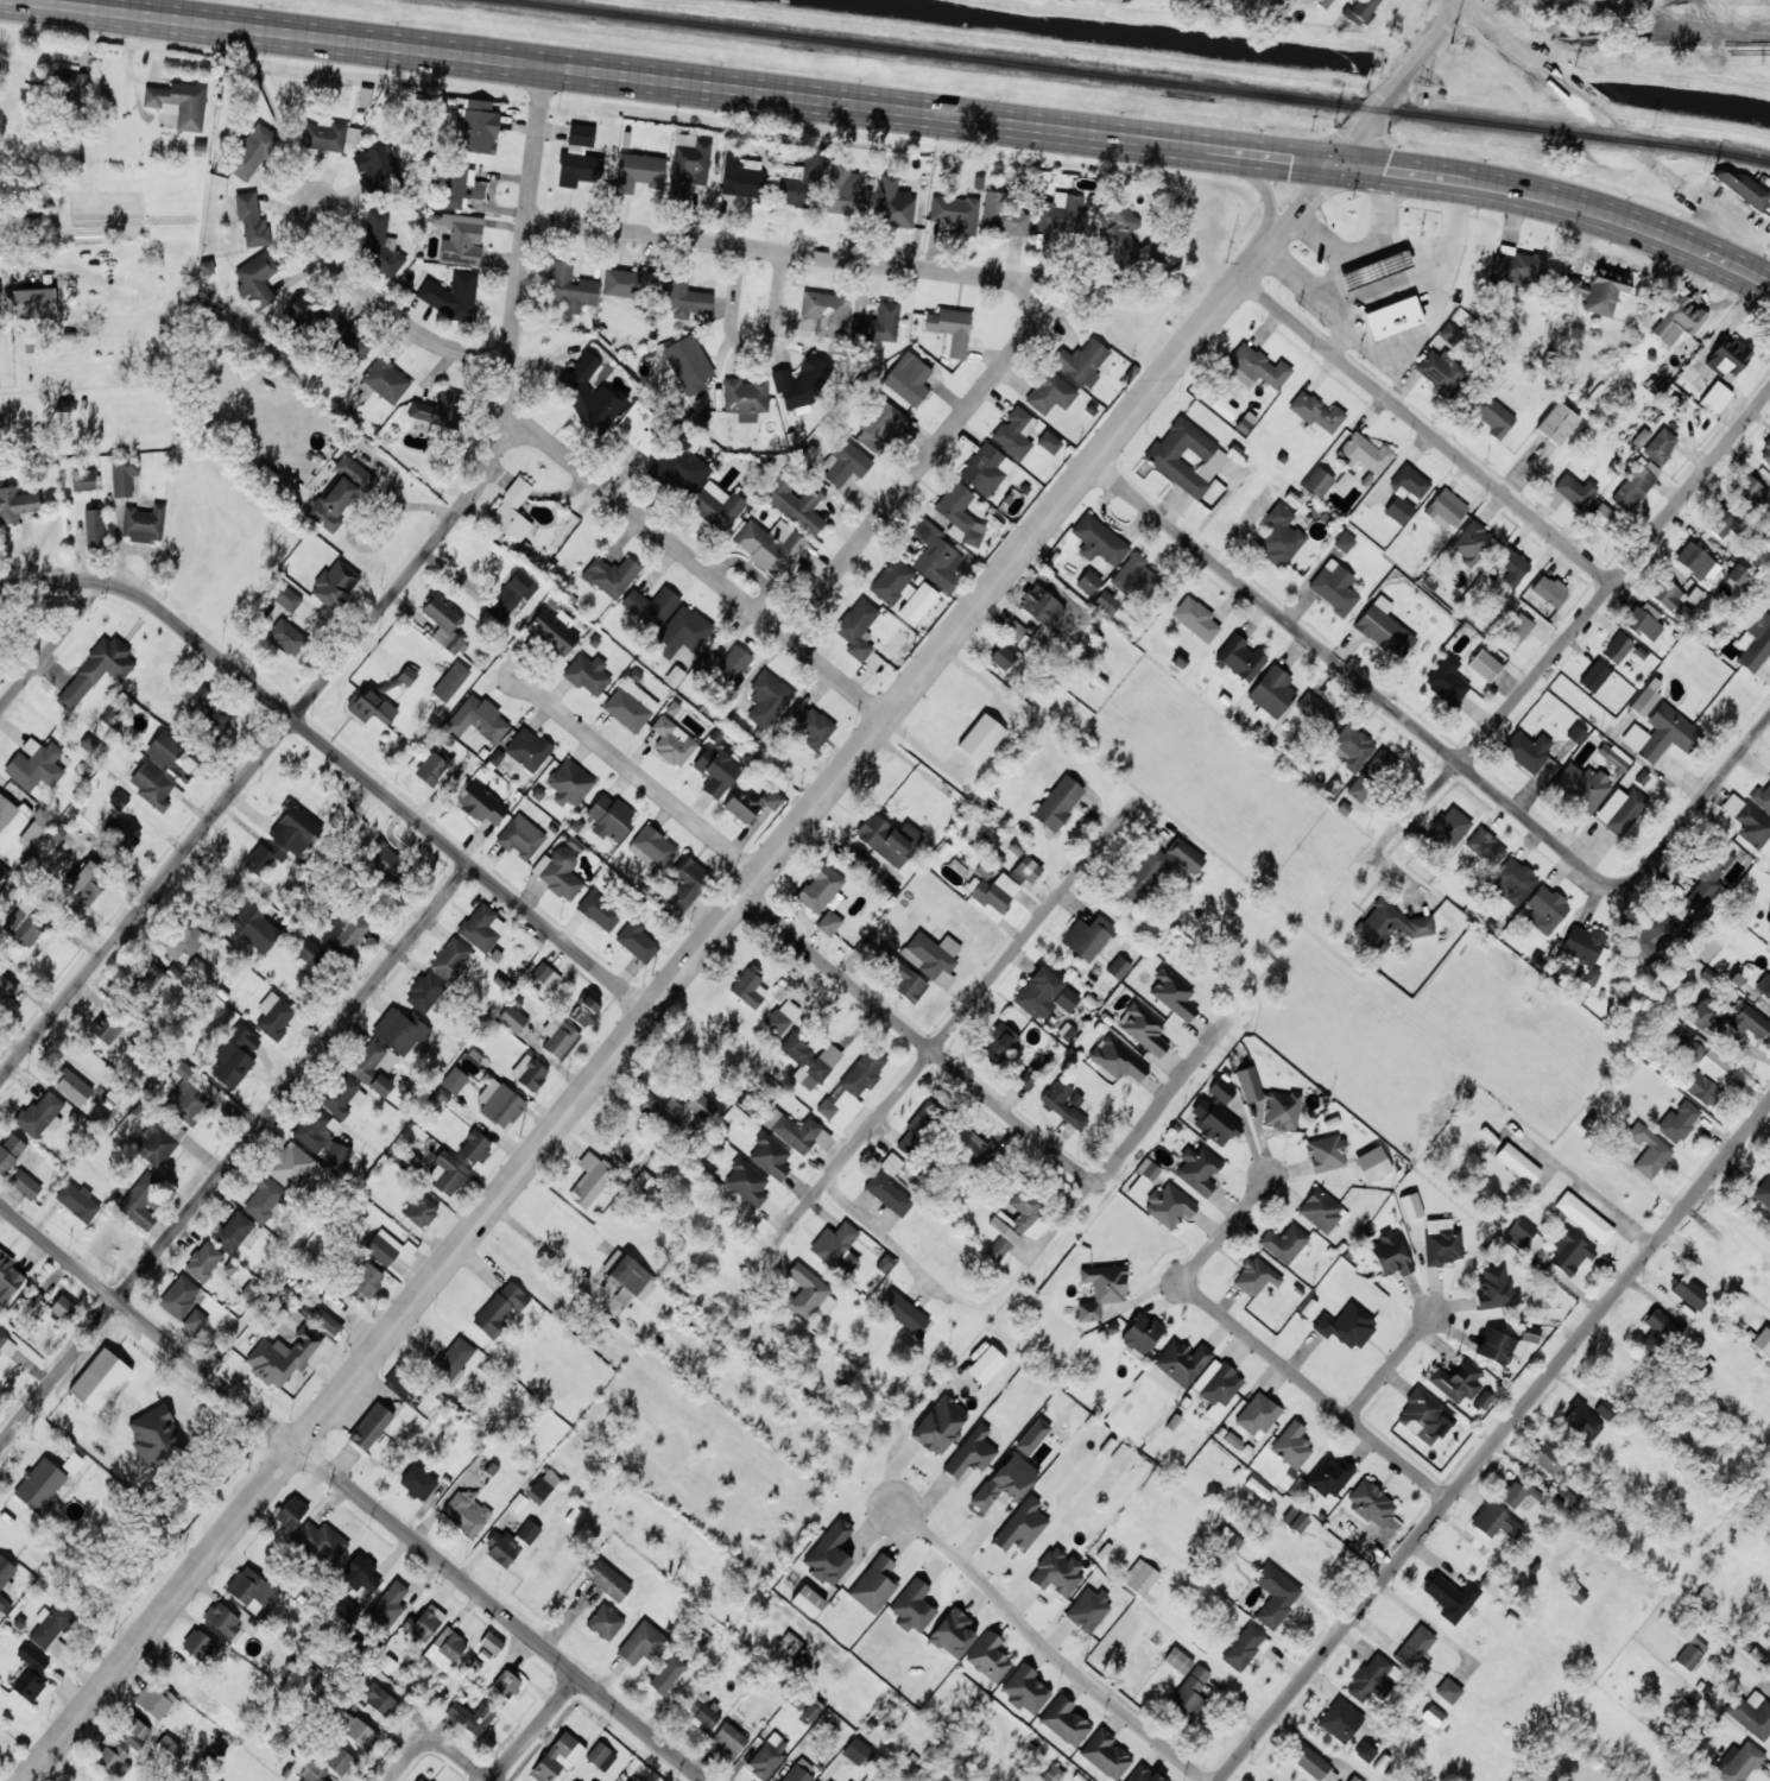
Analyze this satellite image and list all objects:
road: (1460, 1)
building: (1322, 2)
building: (1358, 11)
building: (71, 77)
railway: (1136, 80)
road: (1572, 94)
building: (179, 103)
road: (896, 109)
building: (476, 127)
building: (328, 135)
building: (252, 152)
building: (579, 158)
building: (377, 163)
building: (688, 165)
traffic signals: (1330, 166)
building: (638, 171)
building: (742, 175)
building: (790, 185)
building: (461, 188)
building: (1743, 188)
building: (893, 203)
building: (1061, 213)
building: (955, 214)
building: (251, 220)
building: (1004, 221)
building: (461, 239)
building: (1127, 240)
building: (379, 244)
building: (1517, 265)
building: (1374, 270)
road: (776, 271)
road: (995, 277)
building: (258, 278)
building: (627, 282)
building: (570, 288)
building: (1598, 290)
building: (451, 295)
building: (684, 297)
building: (33, 303)
road: (385, 307)
building: (304, 311)
building: (826, 312)
building: (1392, 317)
building: (1676, 320)
building: (878, 324)
building: (950, 329)
building: (347, 342)
building: (798, 347)
building: (1727, 358)
building: (1081, 362)
building: (688, 364)
building: (1256, 367)
building: (1439, 371)
building: (908, 378)
building: (385, 379)
building: (802, 384)
building: (1049, 392)
building: (588, 393)
building: (745, 398)
building: (1714, 398)
building: (1222, 408)
building: (437, 410)
building: (1315, 412)
building: (1488, 412)
building: (1556, 423)
building: (879, 425)
building: (637, 428)
road: (1427, 430)
building: (1014, 431)
building: (1639, 436)
building: (1049, 442)
building: (1660, 446)
building: (1765, 451)
building: (1363, 453)
building: (1186, 456)
building: (845, 462)
building: (678, 466)
building: (985, 468)
building: (122, 474)
building: (83, 480)
building: (1317, 481)
building: (1633, 485)
building: (1574, 490)
building: (1404, 492)
building: (340, 493)
building: (1750, 493)
building: (795, 503)
building: (15, 504)
building: (716, 505)
building: (1445, 509)
building: (511, 511)
building: (959, 514)
building: (1601, 516)
building: (144, 524)
building: (1719, 524)
building: (94, 526)
building: (1278, 536)
building: (1098, 539)
building: (1344, 542)
building: (1471, 542)
building: (770, 545)
building: (936, 556)
road: (694, 560)
building: (1696, 562)
building: (1512, 567)
building: (1733, 571)
building: (611, 575)
building: (1136, 577)
building: (1088, 581)
building: (892, 582)
building: (334, 585)
building: (1334, 587)
building: (1549, 589)
building: (284, 595)
building: (511, 595)
building: (1675, 598)
building: (919, 602)
building: (1106, 602)
building: (651, 606)
building: (1042, 606)
road: (374, 614)
building: (1196, 619)
road: (1581, 620)
building: (1644, 620)
building: (444, 625)
building: (858, 627)
building: (1384, 627)
building: (1014, 630)
building: (1516, 630)
building: (552, 631)
building: (683, 632)
building: (286, 637)
building: (1755, 643)
road: (51, 644)
building: (1617, 646)
building: (1003, 657)
building: (1240, 657)
road: (1335, 661)
building: (1484, 665)
building: (725, 667)
building: (96, 670)
building: (588, 674)
building: (1594, 675)
building: (1446, 680)
building: (450, 681)
building: (1272, 691)
building: (767, 697)
building: (1643, 701)
building: (371, 706)
building: (630, 707)
building: (1317, 713)
building: (478, 719)
building: (809, 724)
building: (1575, 733)
building: (1661, 733)
building: (980, 738)
building: (672, 740)
building: (1349, 746)
building: (527, 749)
building: (1528, 751)
road: (340, 754)
building: (172, 756)
building: (1612, 757)
building: (34, 764)
building: (432, 766)
building: (715, 771)
road: (638, 772)
building: (569, 782)
building: (152, 785)
building: (1581, 785)
building: (1361, 787)
building: (1762, 797)
building: (119, 800)
building: (750, 802)
building: (1058, 802)
building: (481, 804)
building: (1620, 809)
building: (6, 810)
building: (609, 817)
road: (1682, 823)
building: (1749, 823)
building: (1449, 827)
building: (36, 829)
building: (293, 829)
building: (122, 832)
building: (520, 836)
building: (887, 839)
building: (652, 847)
building: (1485, 847)
building: (383, 855)
building: (1186, 855)
building: (263, 858)
building: (867, 866)
building: (0, 869)
building: (561, 869)
building: (1025, 870)
building: (1144, 873)
building: (1708, 877)
building: (1512, 880)
building: (687, 882)
building: (86, 883)
building: (821, 888)
road: (744, 890)
building: (993, 893)
building: (1544, 909)
building: (599, 911)
building: (828, 923)
building: (1390, 924)
building: (23, 927)
building: (482, 927)
building: (254, 928)
building: (344, 931)
building: (1087, 936)
building: (183, 939)
building: (1646, 939)
building: (637, 941)
building: (308, 949)
building: (1582, 949)
building: (931, 956)
building: (451, 959)
building: (1118, 967)
building: (198, 970)
building: (899, 974)
building: (545, 975)
building: (153, 981)
building: (1763, 985)
building: (750, 986)
building: (7, 990)
building: (424, 992)
building: (1172, 993)
building: (1044, 994)
building: (584, 1011)
building: (1700, 1012)
building: (274, 1015)
building: (780, 1017)
building: (512, 1018)
building: (1749, 1021)
building: (107, 1027)
building: (1144, 1029)
building: (400, 1030)
road: (950, 1031)
building: (557, 1036)
road: (916, 1037)
building: (998, 1041)
building: (1683, 1046)
building: (234, 1056)
building: (810, 1059)
building: (1117, 1060)
building: (1711, 1065)
building: (373, 1066)
building: (529, 1073)
building: (454, 1080)
building: (1025, 1080)
building: (72, 1087)
building: (852, 1087)
building: (1701, 1088)
building: (189, 1092)
building: (343, 1097)
building: (1270, 1100)
building: (1064, 1103)
building: (499, 1104)
building: (662, 1110)
road: (1627, 1112)
building: (40, 1113)
building: (1215, 1113)
building: (1677, 1122)
building: (916, 1130)
building: (796, 1131)
building: (321, 1138)
building: (158, 1141)
building: (475, 1147)
building: (10, 1150)
building: (1648, 1150)
building: (973, 1151)
building: (1326, 1152)
road: (235, 1154)
building: (770, 1155)
building: (1517, 1162)
building: (891, 1163)
building: (1372, 1163)
building: (293, 1168)
building: (1197, 1169)
building: (447, 1173)
road: (1593, 1175)
building: (1144, 1176)
building: (590, 1180)
building: (746, 1182)
building: (25, 1183)
building: (1763, 1192)
building: (887, 1194)
building: (264, 1199)
building: (140, 1200)
building: (77, 1201)
road: (1074, 1202)
building: (1410, 1205)
building: (1169, 1206)
building: (1321, 1211)
building: (418, 1213)
building: (1583, 1217)
building: (1016, 1225)
building: (233, 1231)
building: (1523, 1237)
building: (1441, 1242)
building: (1284, 1243)
building: (383, 1246)
building: (836, 1248)
building: (1390, 1253)
building: (1568, 1253)
building: (203, 1261)
building: (884, 1263)
building: (1254, 1276)
building: (8, 1277)
building: (627, 1277)
building: (367, 1280)
building: (1494, 1288)
building: (1100, 1289)
building: (1687, 1290)
building: (805, 1291)
building: (179, 1296)
building: (826, 1306)
building: (62, 1307)
building: (500, 1309)
building: (903, 1312)
building: (195, 1320)
building: (327, 1321)
building: (1658, 1322)
building: (1346, 1326)
building: (1140, 1333)
building: (1762, 1340)
building: (7, 1345)
building: (1497, 1346)
road: (1260, 1350)
building: (282, 1357)
building: (453, 1360)
road: (1383, 1360)
building: (1182, 1362)
building: (986, 1364)
building: (100, 1379)
building: (1456, 1381)
building: (1216, 1384)
building: (404, 1387)
building: (1605, 1409)
building: (1257, 1415)
building: (1421, 1415)
building: (1582, 1420)
building: (938, 1425)
building: (371, 1426)
building: (156, 1435)
building: (1032, 1436)
road: (1494, 1441)
building: (1291, 1445)
building: (972, 1452)
building: (1548, 1460)
building: (1328, 1477)
building: (1006, 1480)
building: (417, 1482)
building: (39, 1484)
building: (542, 1486)
road: (353, 1492)
building: (1517, 1492)
building: (1371, 1503)
building: (291, 1511)
building: (466, 1512)
building: (1294, 1520)
building: (1494, 1521)
building: (1020, 1526)
building: (321, 1542)
building: (1233, 1542)
building: (510, 1545)
building: (829, 1553)
building: (1056, 1571)
building: (360, 1574)
building: (1139, 1577)
building: (608, 1580)
building: (5, 1583)
building: (874, 1584)
building: (248, 1586)
building: (1576, 1592)
building: (1275, 1594)
building: (1450, 1597)
building: (808, 1600)
building: (388, 1604)
building: (912, 1606)
building: (346, 1609)
building: (1088, 1610)
building: (222, 1619)
building: (605, 1622)
building: (422, 1624)
building: (52, 1628)
building: (953, 1634)
building: (491, 1643)
building: (640, 1643)
building: (197, 1644)
building: (1244, 1646)
building: (444, 1649)
road: (1045, 1649)
building: (1415, 1650)
building: (1690, 1654)
building: (988, 1657)
building: (1177, 1660)
building: (30, 1673)
building: (666, 1674)
building: (1372, 1679)
building: (506, 1684)
building: (1025, 1688)
building: (1448, 1690)
building: (1190, 1693)
building: (380, 1699)
building: (156, 1701)
building: (813, 1710)
building: (702, 1713)
building: (1751, 1713)
building: (1431, 1714)
building: (470, 1717)
building: (1340, 1719)
building: (1064, 1720)
road: (533, 1728)
building: (358, 1731)
building: (134, 1732)
building: (728, 1739)
building: (170, 1748)
building: (856, 1751)
building: (1364, 1751)
road: (455, 1754)
building: (1105, 1754)
building: (600, 1756)
building: (557, 1757)
building: (112, 1758)
building: (337, 1758)
building: (765, 1760)
building: (1738, 1762)
road: (402, 1764)
building: (1315, 1766)
building: (311, 1773)
building: (799, 1773)
building: (1051, 1774)
building: (1143, 1774)
building: (421, 1779)
building: (824, 1779)
building: (1353, 1779)
building: (624, 1780)

